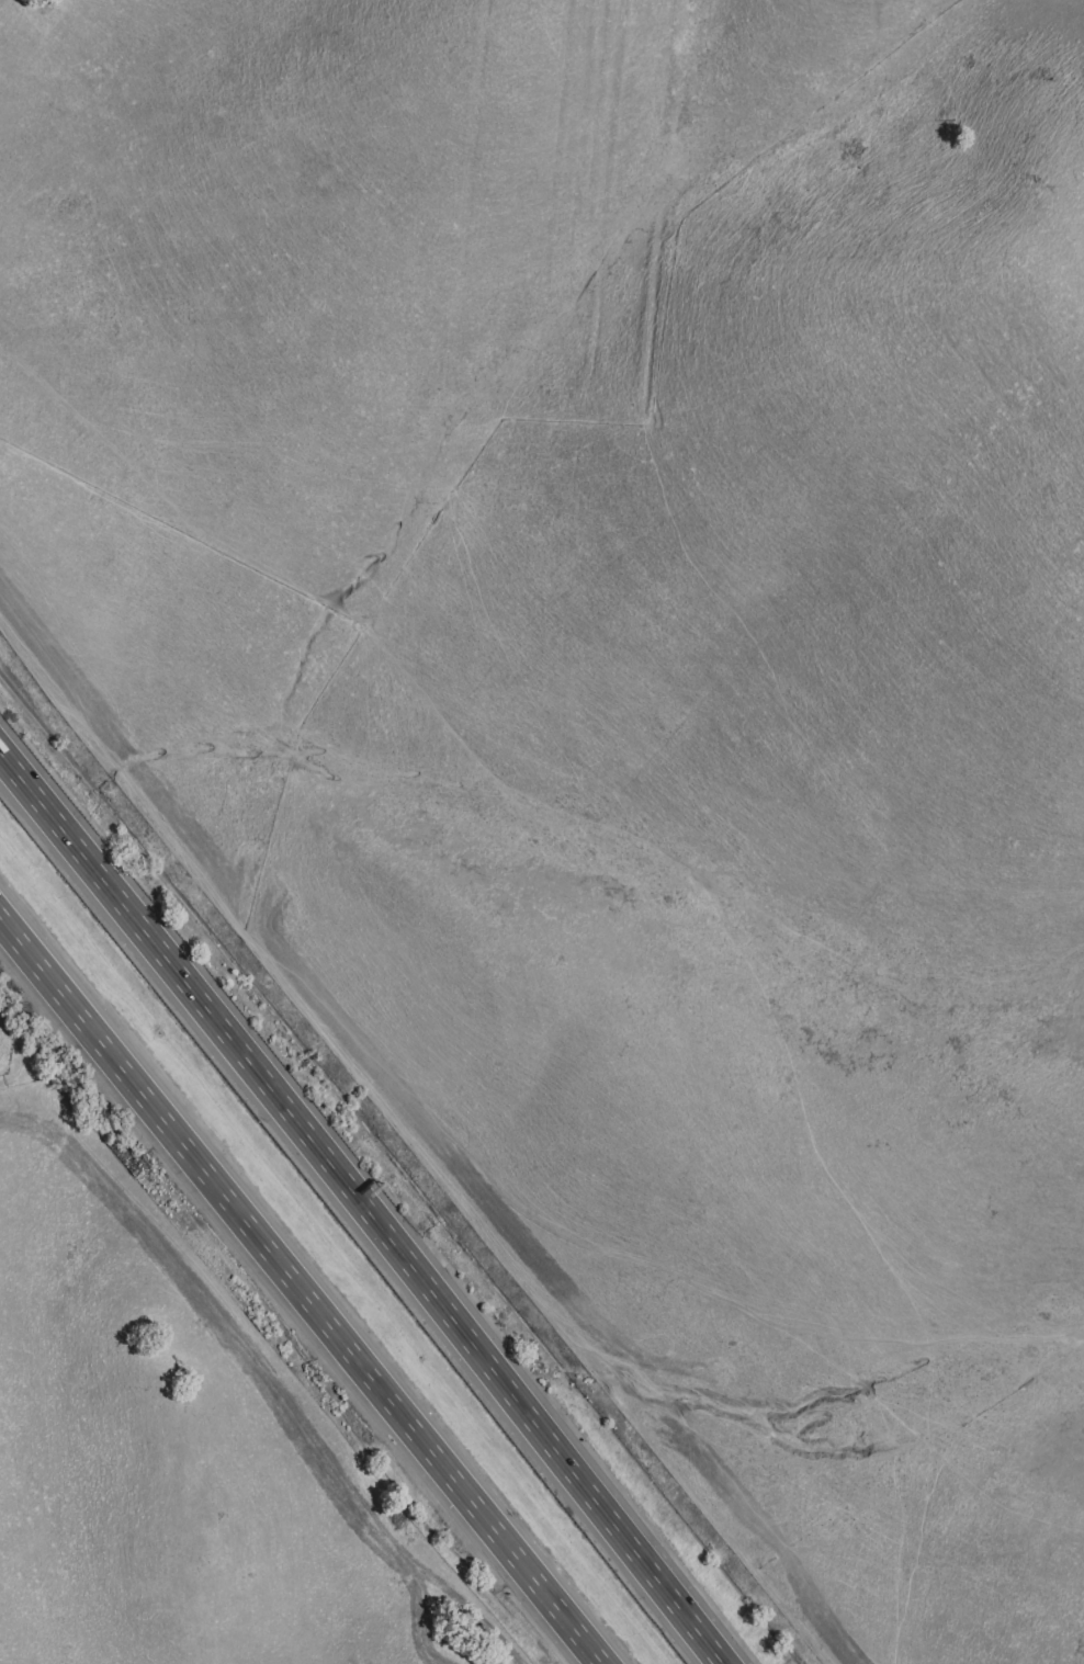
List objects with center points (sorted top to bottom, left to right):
road: (39, 1064)
road: (363, 1205)
road: (302, 1289)

